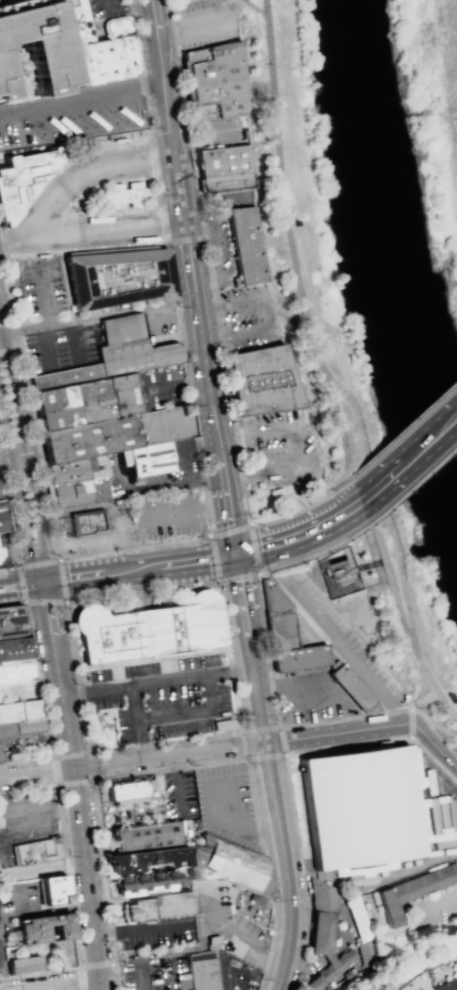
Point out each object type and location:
road: (2, 0)
road: (125, 8)
road: (252, 8)
parking lot: (105, 10)
road: (153, 16)
parking lot: (205, 22)
road: (202, 23)
building: (91, 25)
building: (35, 41)
building: (105, 61)
road: (140, 68)
building: (214, 80)
building: (1, 88)
road: (164, 94)
road: (80, 99)
parking lot: (72, 114)
parking lot: (217, 132)
road: (203, 136)
traffic signals: (173, 155)
road: (153, 157)
road: (153, 158)
road: (63, 165)
road: (114, 165)
building: (223, 169)
building: (23, 179)
road: (177, 184)
road: (63, 186)
road: (187, 187)
road: (171, 190)
building: (124, 194)
road: (53, 199)
road: (162, 224)
traffic signals: (183, 224)
road: (168, 226)
road: (121, 230)
parking lot: (224, 231)
road: (80, 233)
road: (286, 235)
road: (54, 236)
road: (10, 240)
road: (185, 240)
building: (246, 244)
river: (391, 245)
road: (83, 249)
road: (215, 250)
road: (0, 254)
building: (118, 281)
road: (65, 287)
road: (8, 289)
parking lot: (43, 289)
road: (47, 296)
road: (214, 302)
park: (367, 302)
road: (269, 313)
road: (98, 317)
parking lot: (247, 317)
road: (288, 319)
road: (7, 323)
road: (199, 326)
road: (15, 335)
road: (1, 338)
road: (8, 350)
building: (262, 379)
road: (188, 390)
building: (105, 415)
road: (452, 421)
road: (405, 426)
road: (17, 440)
road: (296, 445)
road: (340, 447)
road: (198, 448)
parking lot: (277, 448)
road: (26, 450)
road: (37, 454)
road: (20, 460)
road: (6, 461)
road: (405, 463)
road: (414, 484)
road: (339, 485)
road: (378, 488)
road: (226, 490)
road: (18, 493)
road: (275, 494)
building: (0, 497)
road: (297, 500)
building: (1, 519)
building: (86, 522)
road: (12, 531)
road: (230, 531)
road: (302, 532)
road: (253, 549)
building: (0, 551)
road: (319, 551)
traffic signals: (237, 552)
road: (56, 556)
building: (0, 558)
road: (214, 558)
road: (61, 559)
road: (186, 560)
road: (37, 561)
building: (341, 570)
road: (90, 573)
road: (238, 576)
road: (402, 579)
traffic signals: (46, 580)
road: (64, 581)
road: (389, 581)
road: (22, 582)
road: (20, 585)
road: (45, 602)
road: (292, 602)
road: (248, 615)
road: (50, 617)
building: (149, 630)
building: (287, 636)
road: (349, 636)
parking lot: (357, 640)
road: (336, 641)
building: (16, 648)
road: (349, 653)
road: (429, 682)
road: (160, 684)
road: (328, 686)
building: (350, 687)
road: (41, 694)
parking lot: (166, 698)
road: (290, 698)
parking lot: (308, 700)
road: (133, 705)
building: (10, 713)
road: (168, 716)
building: (31, 719)
road: (413, 722)
road: (423, 722)
building: (223, 724)
road: (410, 724)
road: (279, 726)
building: (8, 731)
road: (442, 731)
road: (241, 732)
road: (440, 738)
road: (438, 745)
road: (200, 752)
road: (283, 755)
road: (181, 769)
road: (286, 777)
road: (91, 781)
road: (174, 785)
building: (133, 792)
parking lot: (178, 796)
parking lot: (225, 803)
building: (360, 807)
road: (39, 815)
parking lot: (27, 818)
road: (81, 821)
road: (237, 825)
road: (283, 834)
building: (142, 837)
building: (36, 851)
building: (146, 859)
building: (228, 866)
road: (421, 866)
building: (148, 882)
building: (424, 884)
road: (71, 888)
building: (53, 890)
parking lot: (19, 898)
road: (441, 901)
building: (154, 907)
parking lot: (435, 908)
building: (389, 910)
road: (44, 912)
building: (357, 921)
building: (44, 928)
parking lot: (227, 928)
parking lot: (154, 935)
road: (142, 936)
road: (237, 936)
building: (328, 937)
building: (370, 956)
building: (24, 965)
road: (2, 967)
road: (86, 967)
building: (201, 971)
parking lot: (151, 973)
parking lot: (234, 974)
road: (145, 978)
road: (230, 980)
building: (313, 982)
building: (446, 985)
road: (76, 986)
building: (423, 989)

